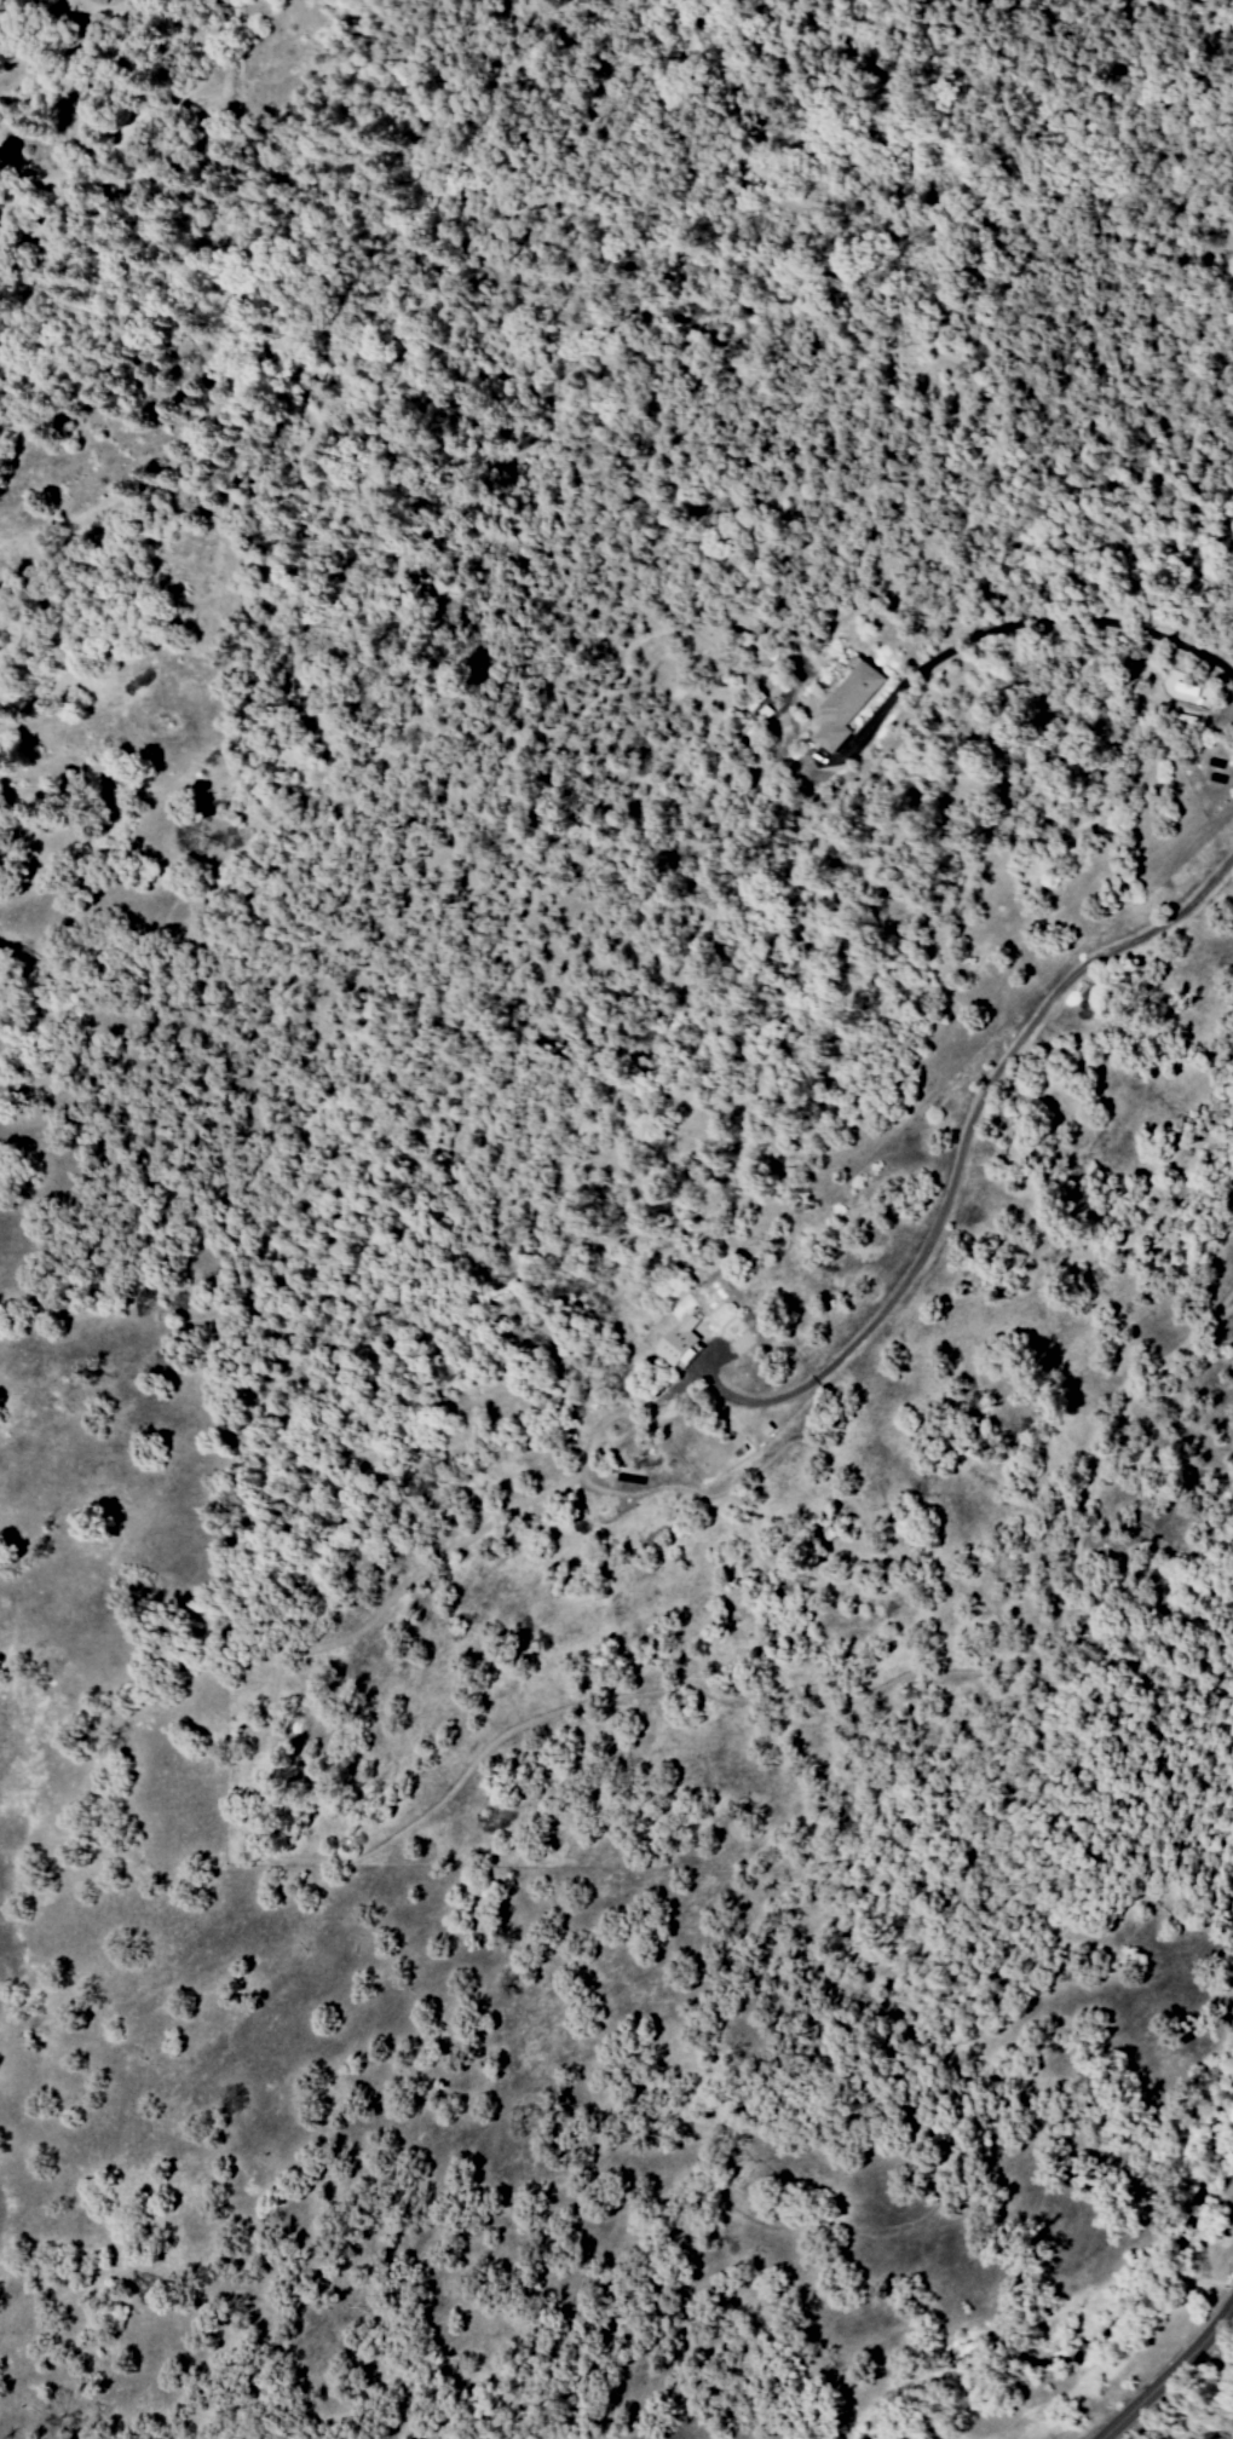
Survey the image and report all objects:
road: (1014, 624)
building: (849, 705)
road: (957, 1142)
building: (687, 1340)
road: (1165, 2375)

